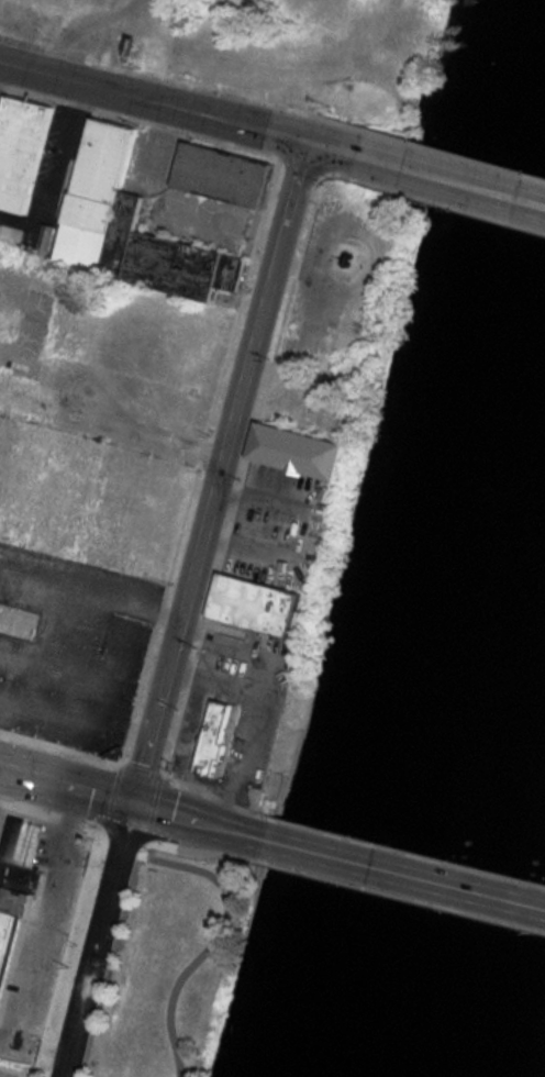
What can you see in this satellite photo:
road: (179, 109)
building: (21, 151)
building: (221, 176)
road: (452, 180)
building: (121, 225)
building: (68, 331)
building: (12, 395)
building: (302, 448)
building: (255, 606)
road: (191, 611)
building: (216, 736)
river: (467, 746)
road: (133, 803)
building: (22, 841)
road: (405, 874)
building: (14, 900)
parking lot: (11, 1073)

